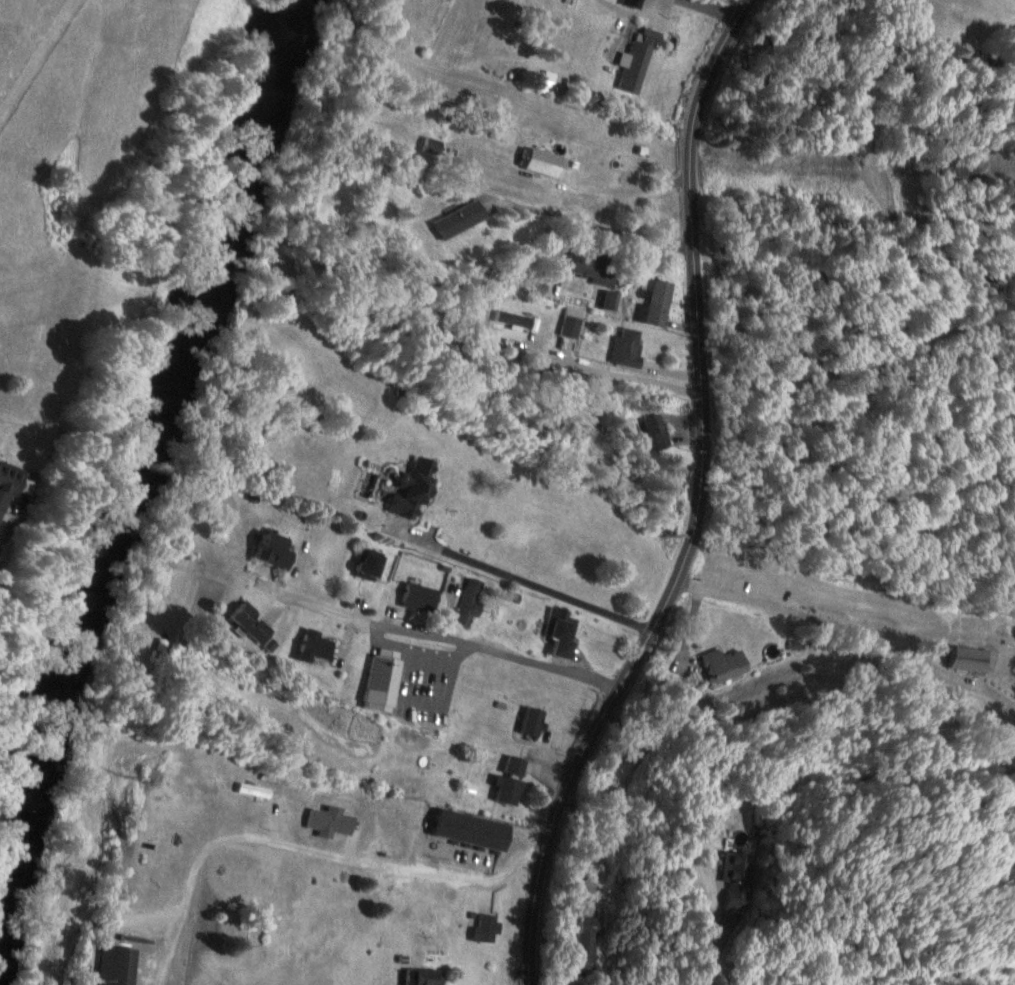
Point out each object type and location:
building: (632, 3)
building: (548, 163)
road: (688, 203)
road: (882, 209)
building: (461, 219)
building: (596, 268)
building: (612, 300)
building: (657, 304)
building: (571, 326)
building: (628, 348)
river: (126, 470)
building: (13, 486)
building: (411, 494)
building: (277, 551)
building: (371, 566)
building: (421, 598)
building: (471, 604)
building: (255, 625)
building: (561, 632)
road: (441, 639)
building: (318, 645)
building: (969, 659)
building: (725, 665)
building: (384, 682)
road: (611, 700)
building: (535, 721)
building: (511, 782)
road: (308, 851)
building: (438, 912)
building: (486, 927)
building: (589, 943)
building: (119, 966)
building: (426, 977)

